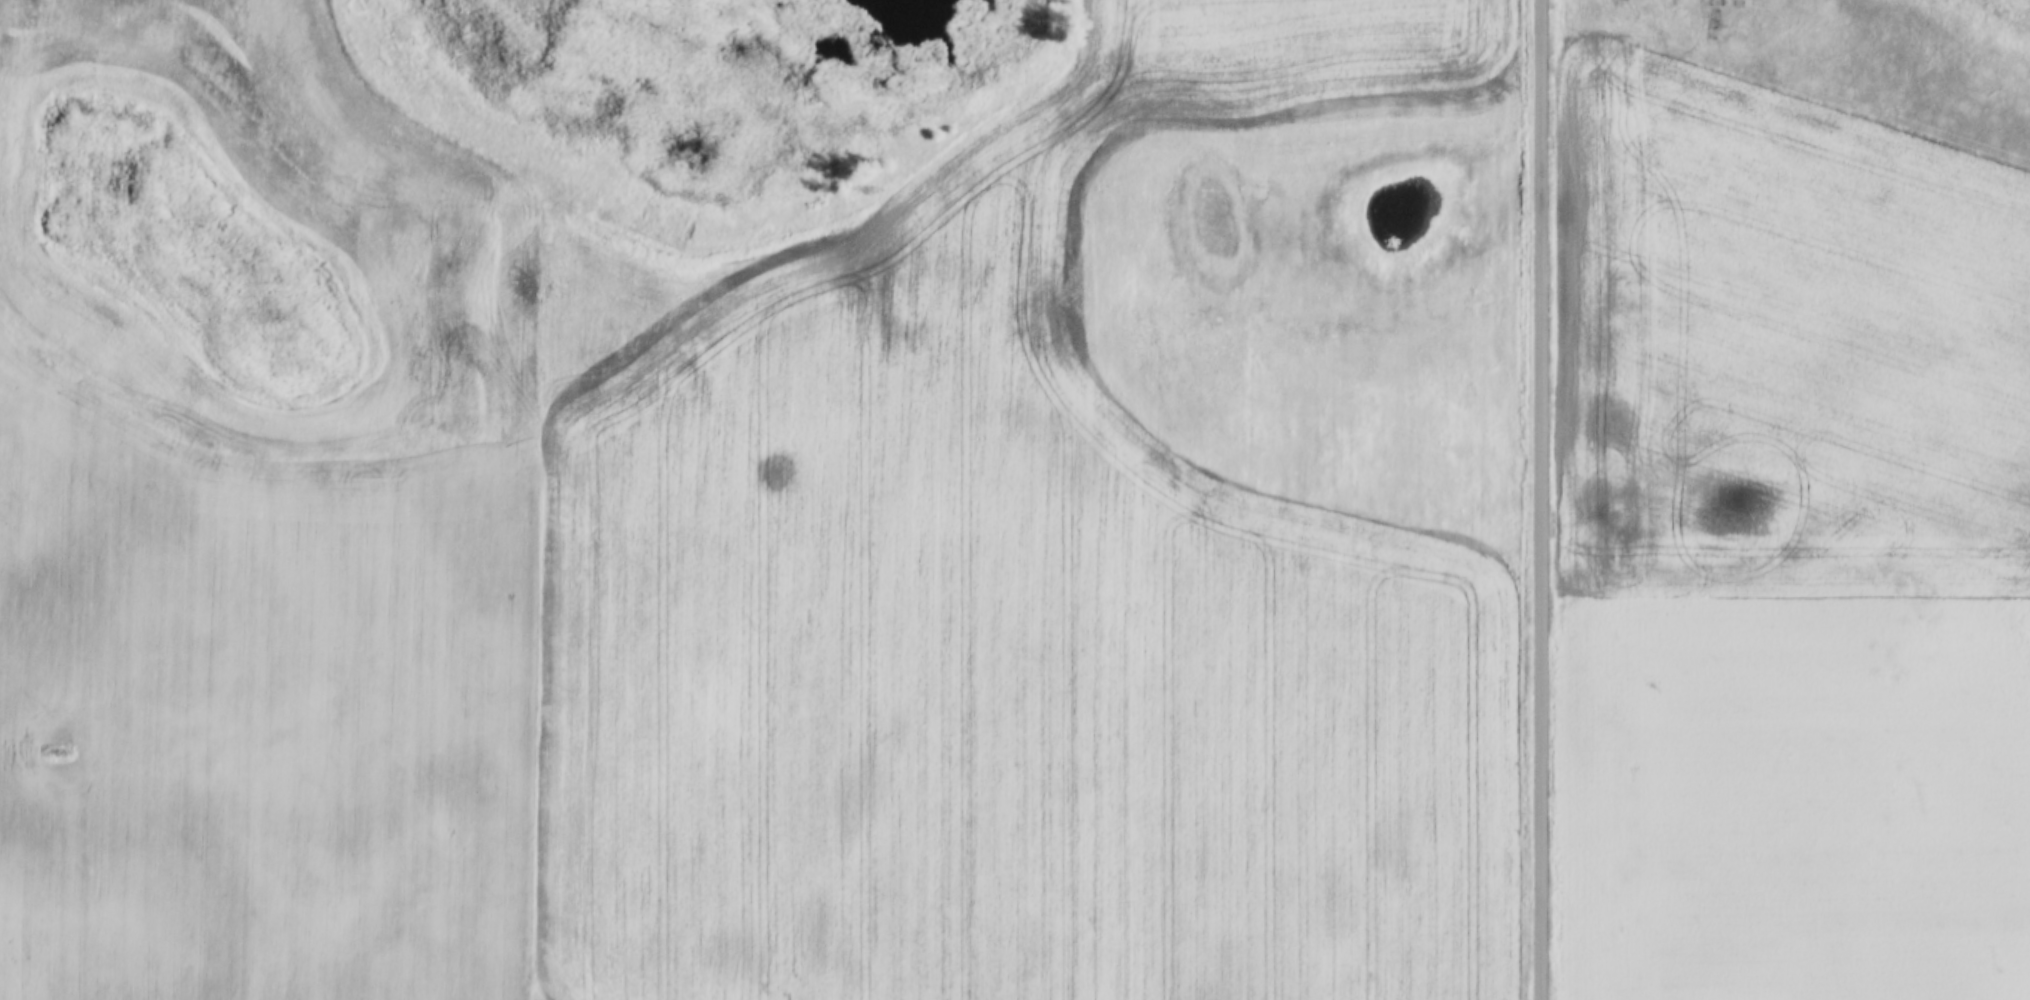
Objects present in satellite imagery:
road: (1542, 499)

